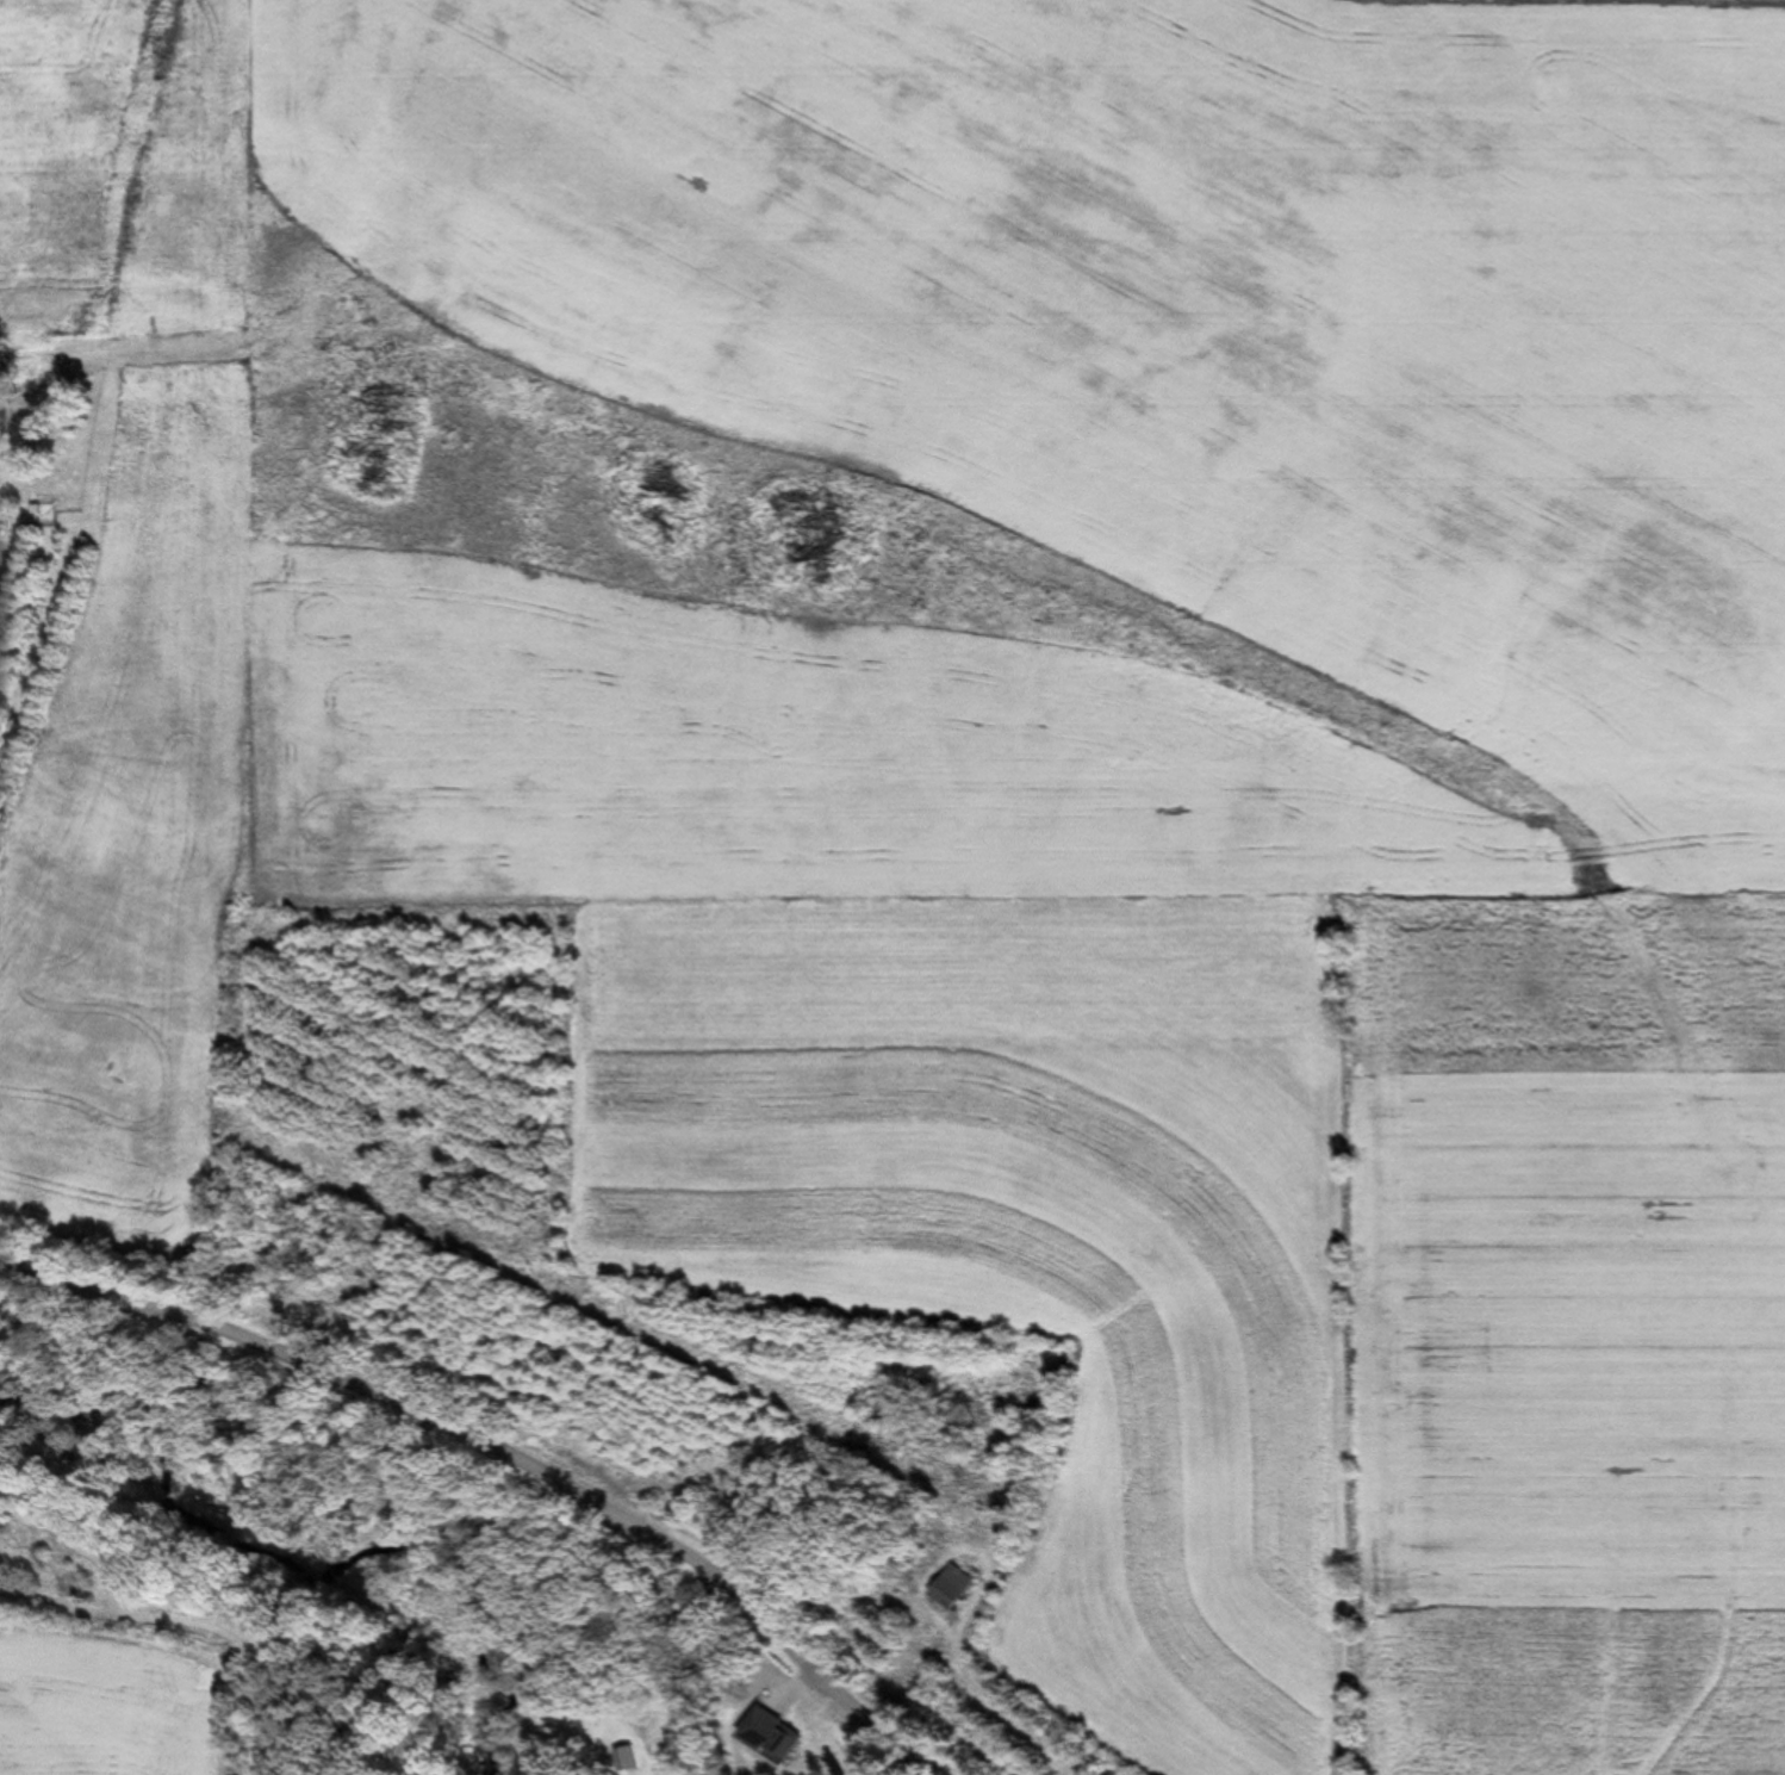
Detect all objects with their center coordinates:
road: (504, 1456)
building: (954, 1588)

